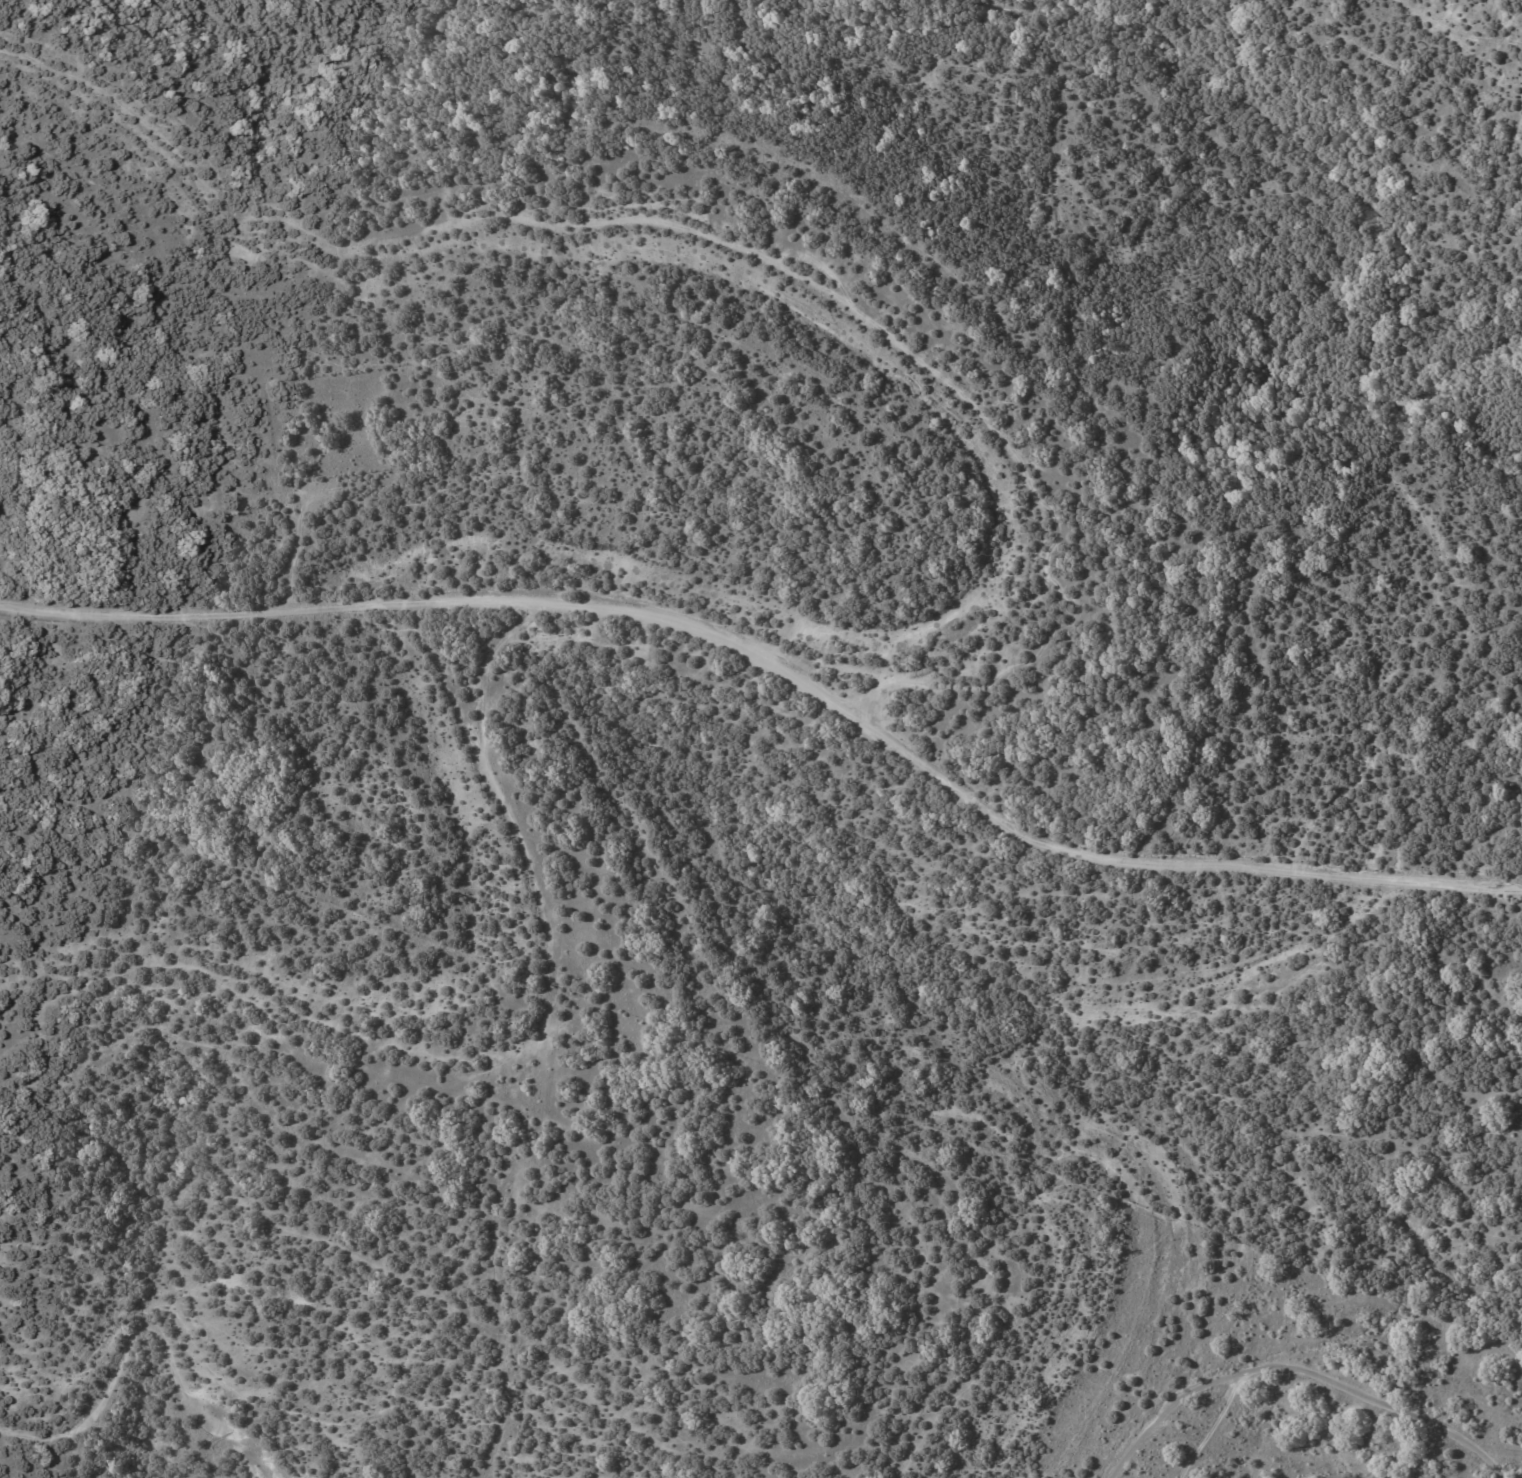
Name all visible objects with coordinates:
park: (342, 423)
road: (782, 676)
road: (1298, 1369)

